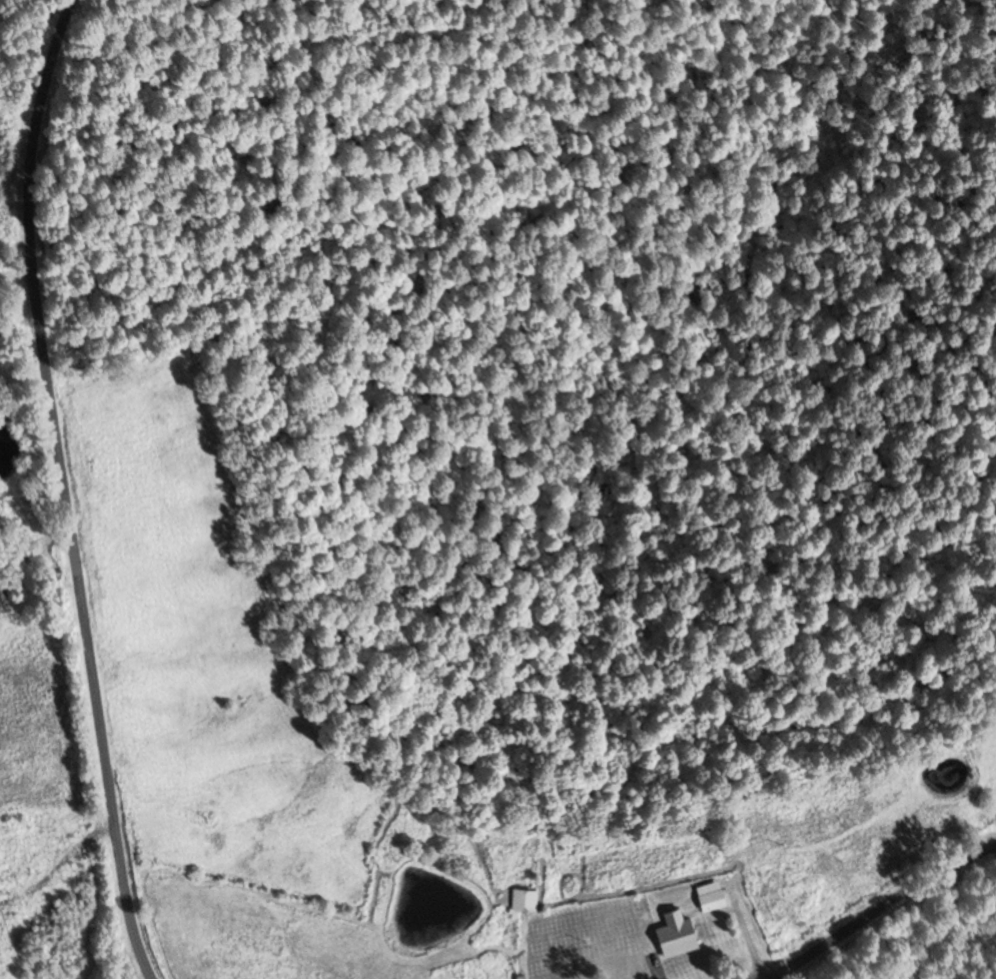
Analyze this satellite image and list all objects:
road: (59, 490)
road: (882, 907)

